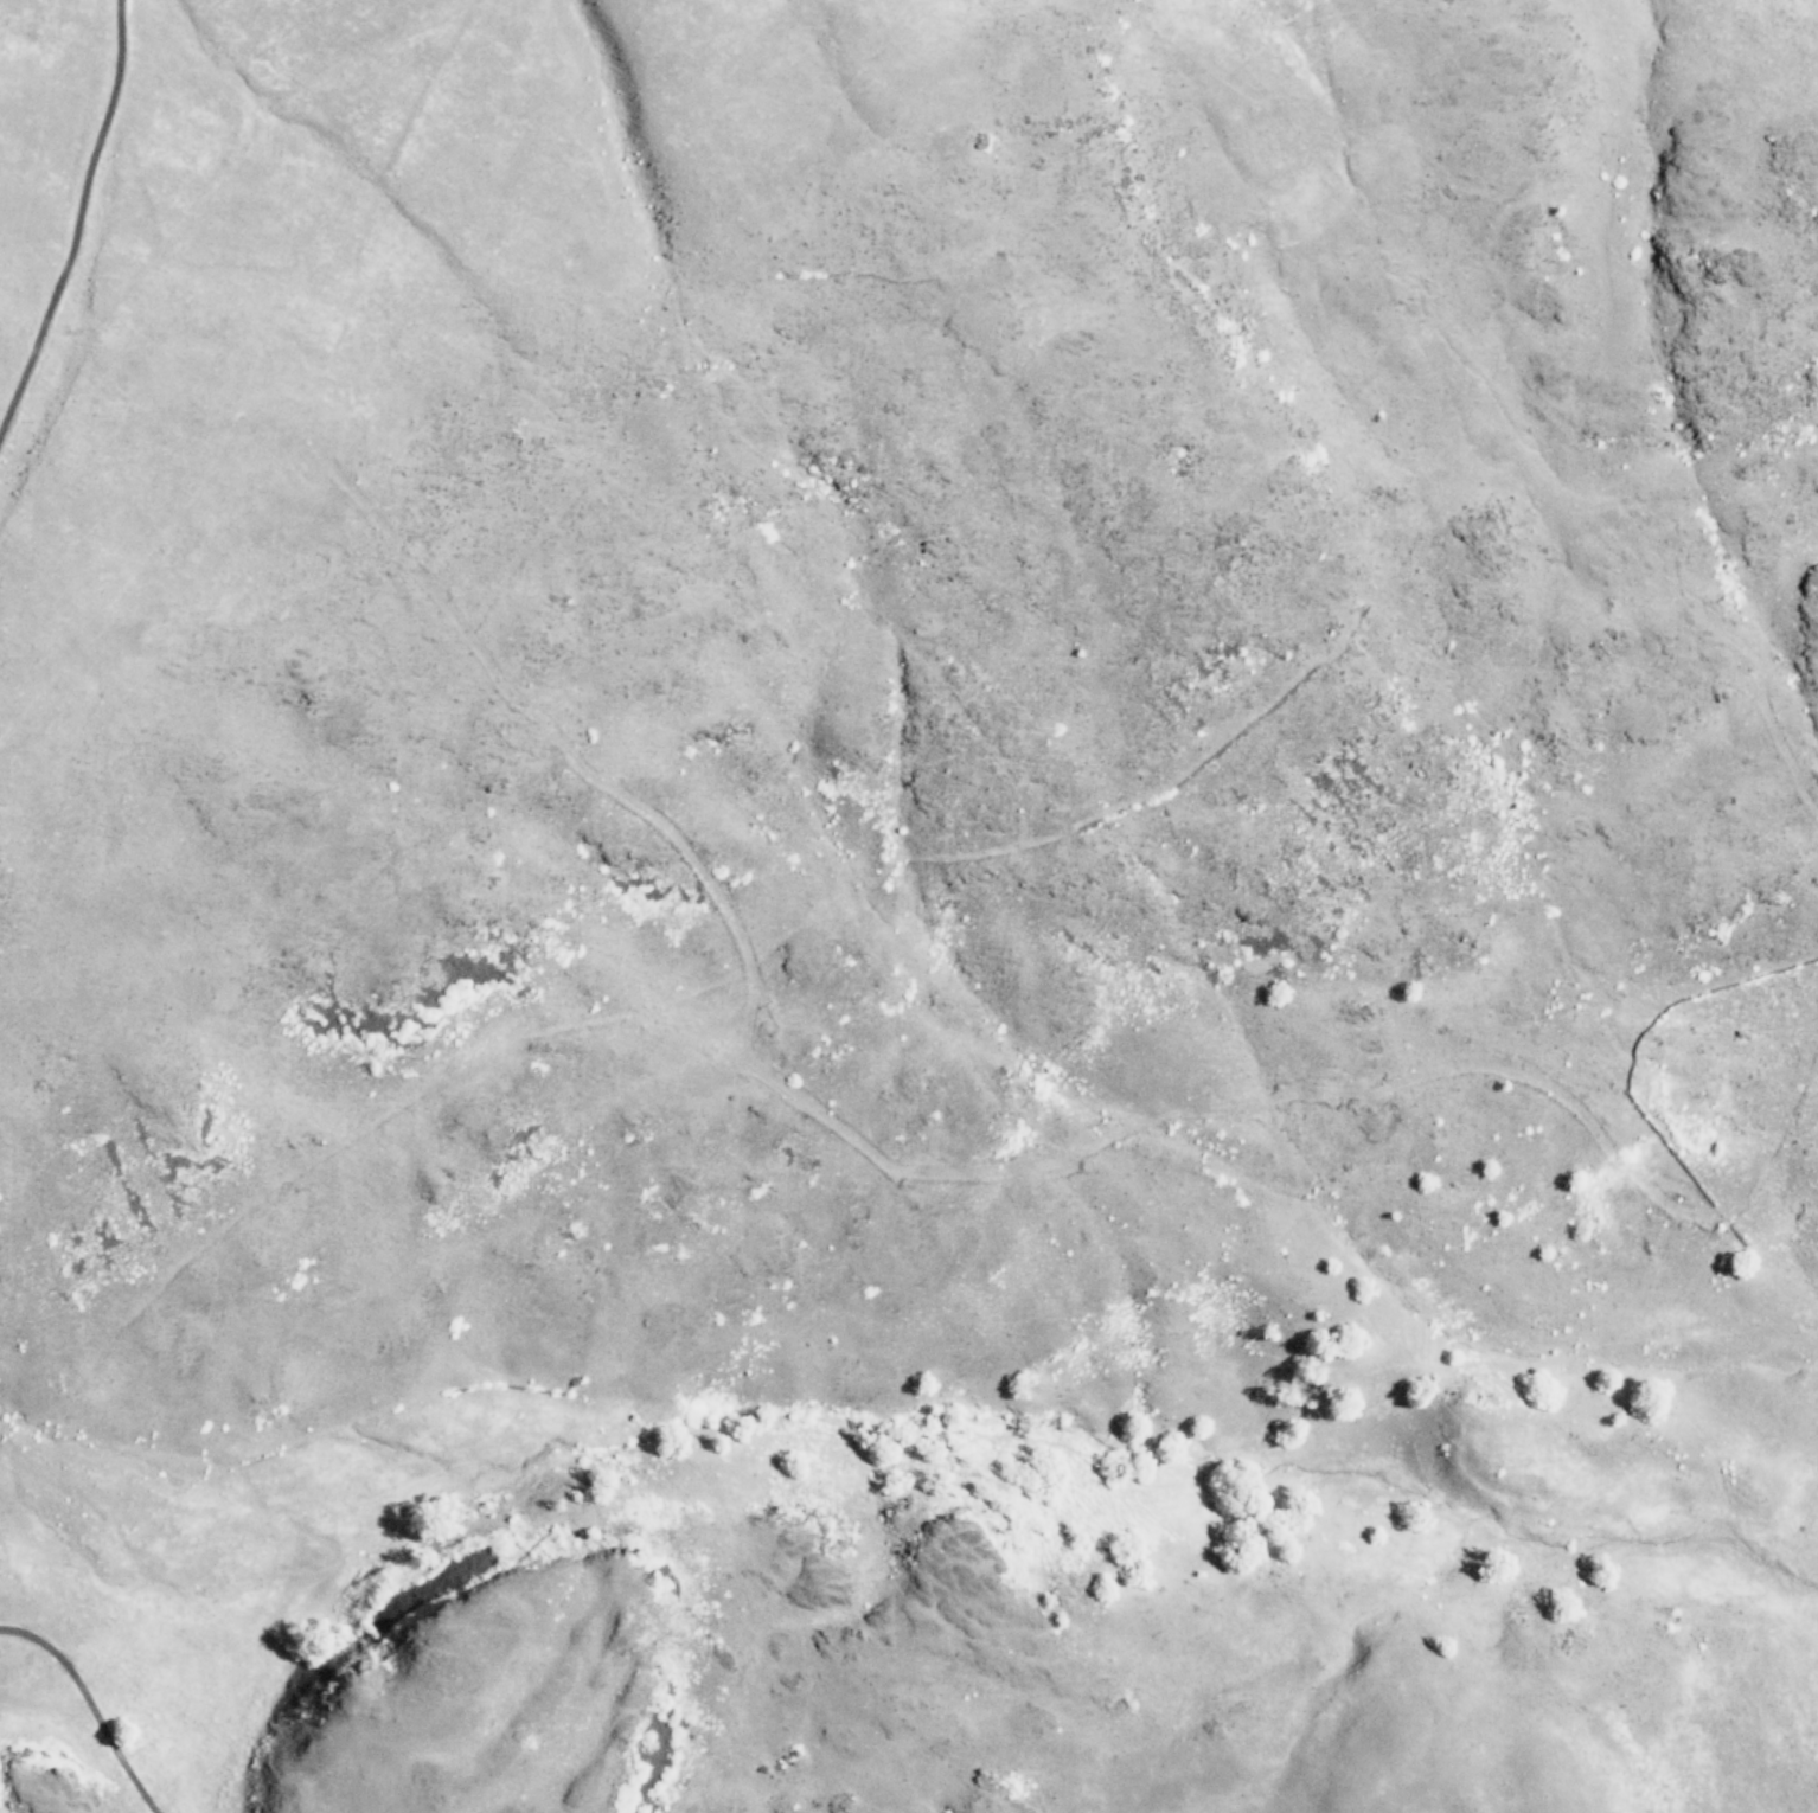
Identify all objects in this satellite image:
road: (76, 216)
road: (88, 1708)

